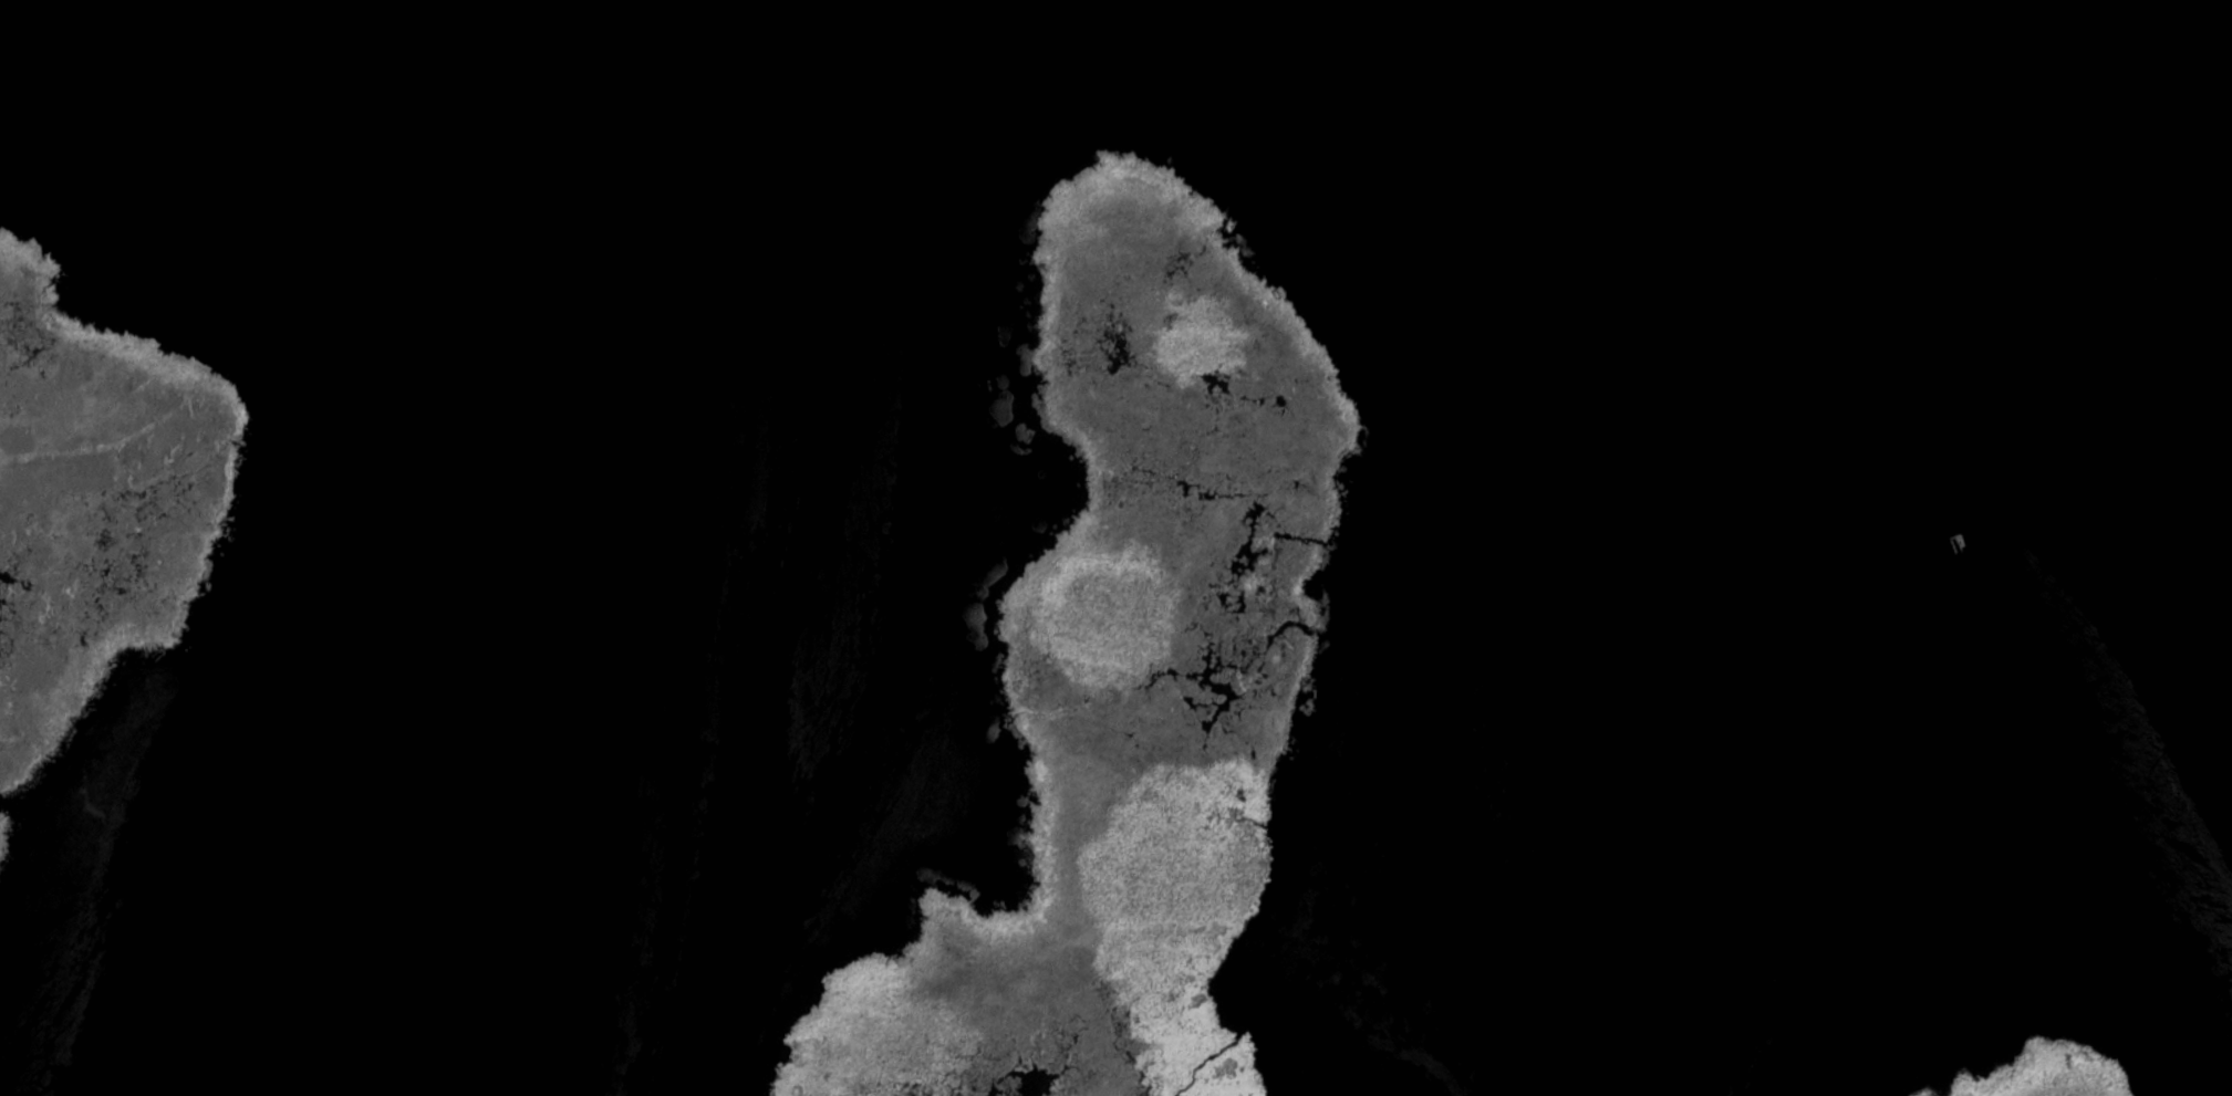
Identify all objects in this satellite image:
river: (1983, 348)

